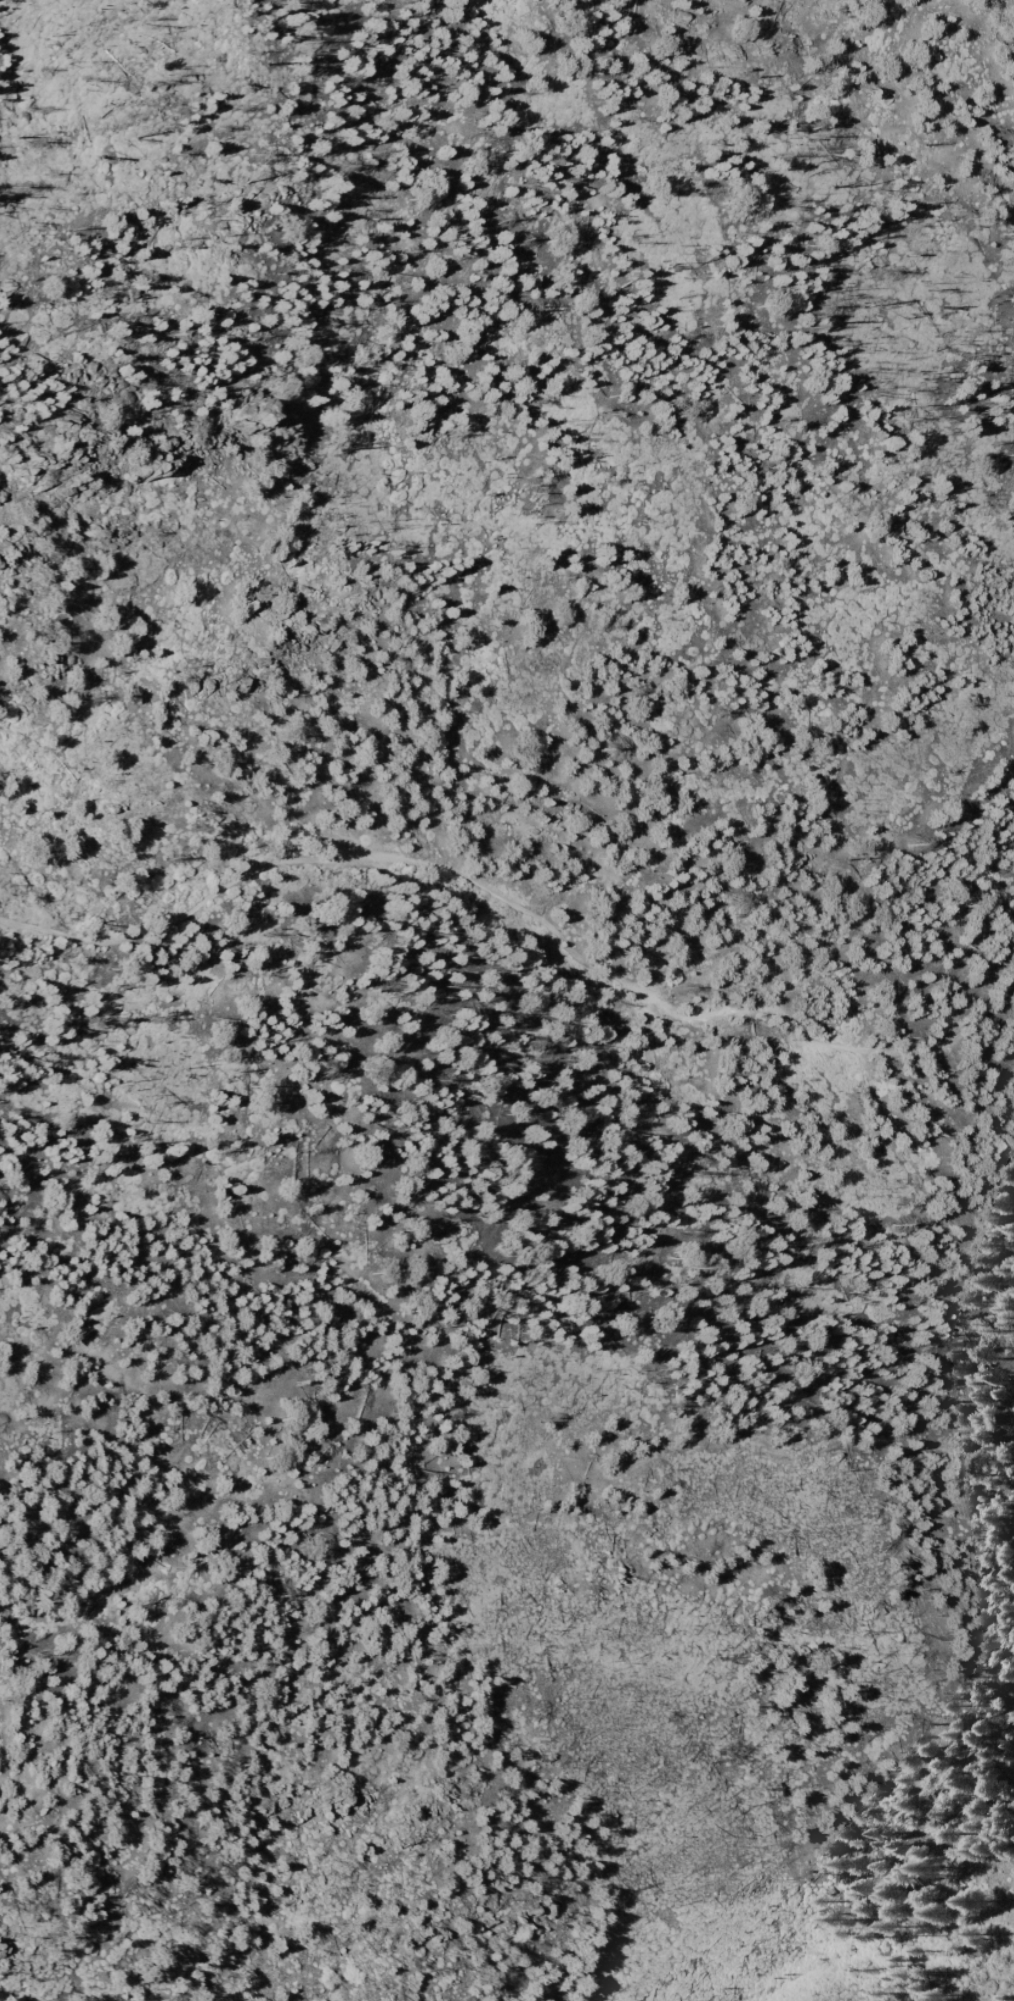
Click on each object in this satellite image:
road: (332, 859)
road: (832, 1044)

